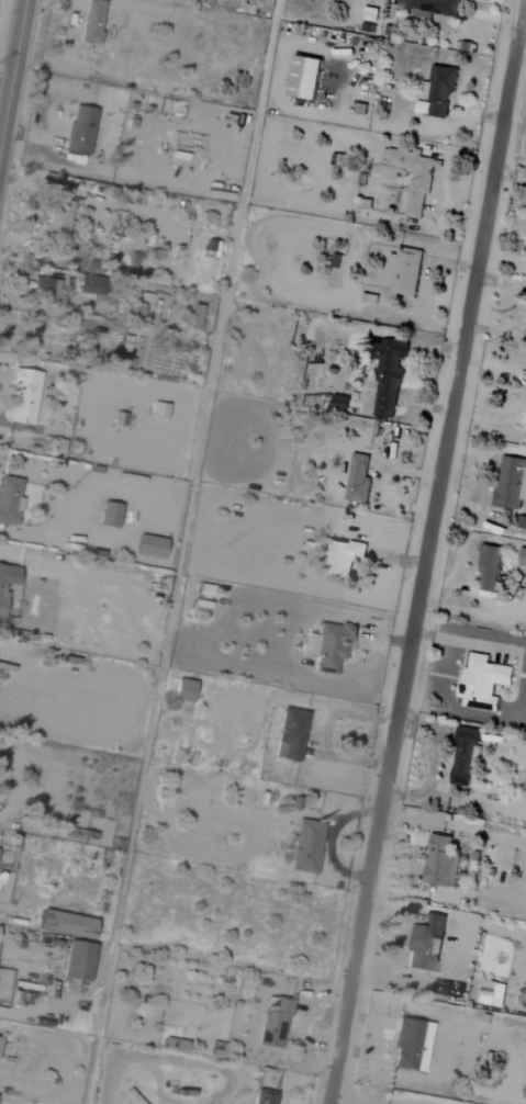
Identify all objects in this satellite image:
building: (429, 7)
building: (91, 21)
road: (12, 69)
building: (302, 76)
building: (79, 129)
building: (415, 177)
building: (403, 271)
building: (87, 284)
building: (44, 289)
building: (385, 375)
building: (23, 396)
building: (338, 402)
building: (158, 409)
building: (525, 430)
building: (357, 480)
building: (510, 483)
building: (9, 500)
building: (109, 515)
building: (148, 547)
road: (181, 551)
road: (426, 551)
building: (339, 556)
building: (522, 556)
building: (488, 566)
building: (5, 582)
building: (204, 589)
building: (328, 645)
building: (480, 681)
building: (182, 690)
building: (289, 734)
building: (463, 756)
road: (455, 826)
building: (305, 846)
building: (439, 861)
road: (450, 897)
building: (65, 924)
building: (424, 944)
building: (76, 960)
building: (272, 1023)
building: (410, 1046)
building: (262, 1097)

